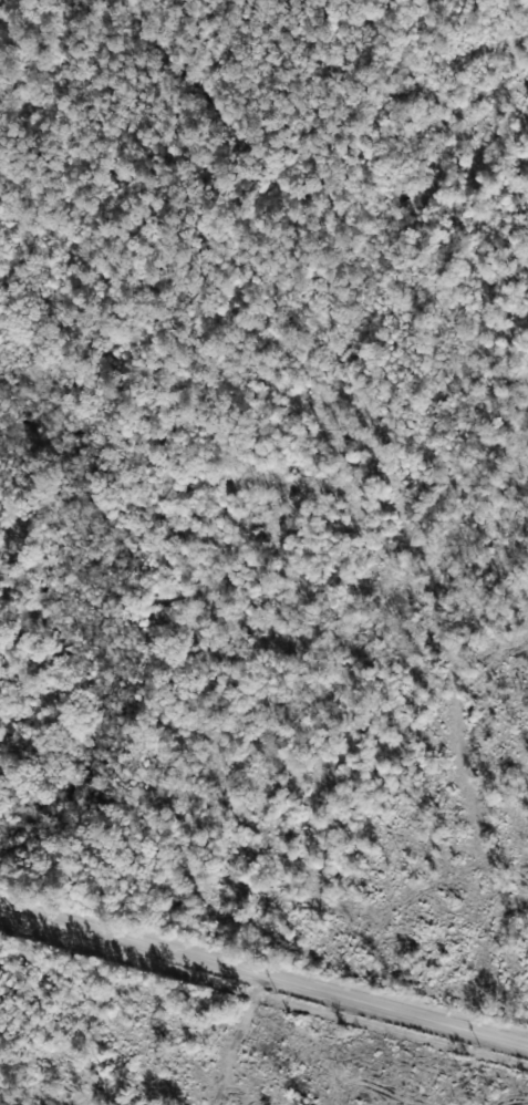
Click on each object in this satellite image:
road: (263, 953)

